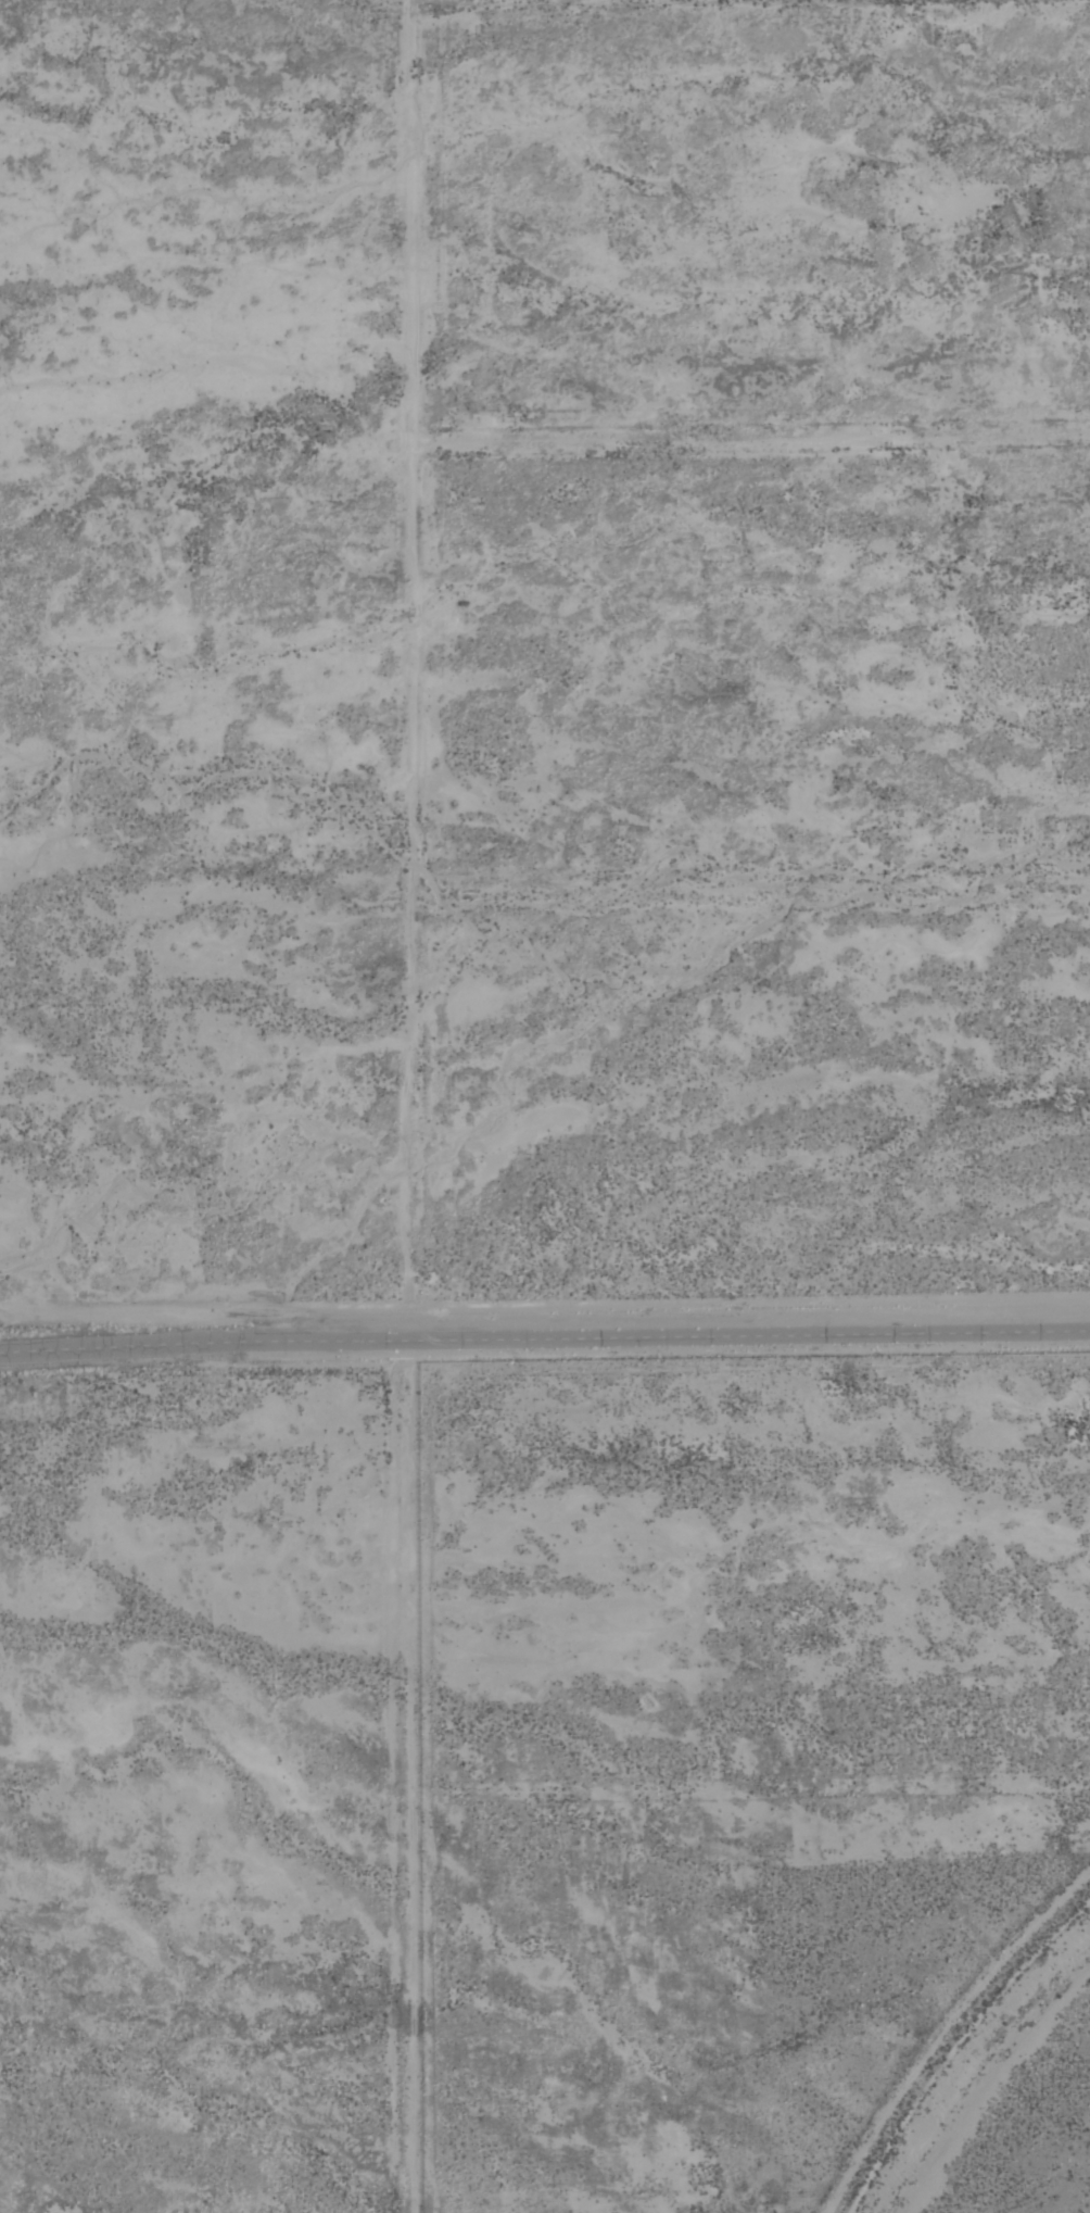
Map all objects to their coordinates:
road: (545, 1343)

